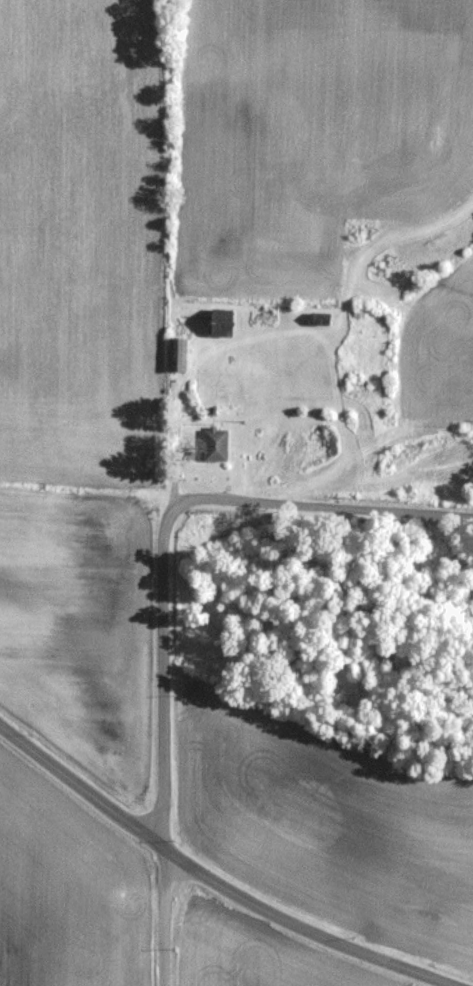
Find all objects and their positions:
road: (324, 502)
road: (166, 742)
road: (213, 879)

